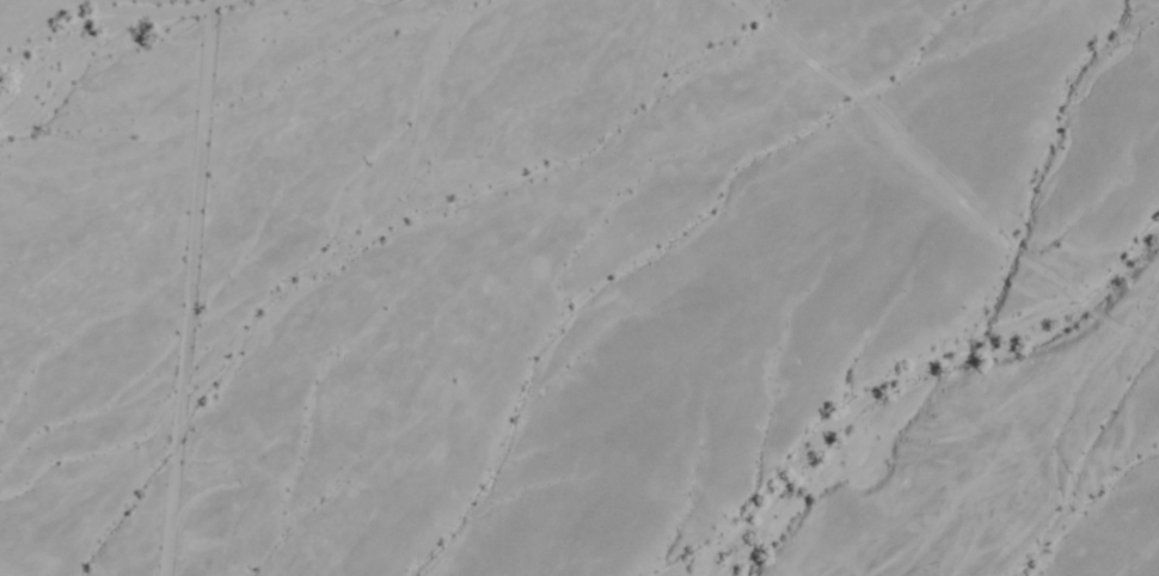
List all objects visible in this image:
road: (177, 288)

